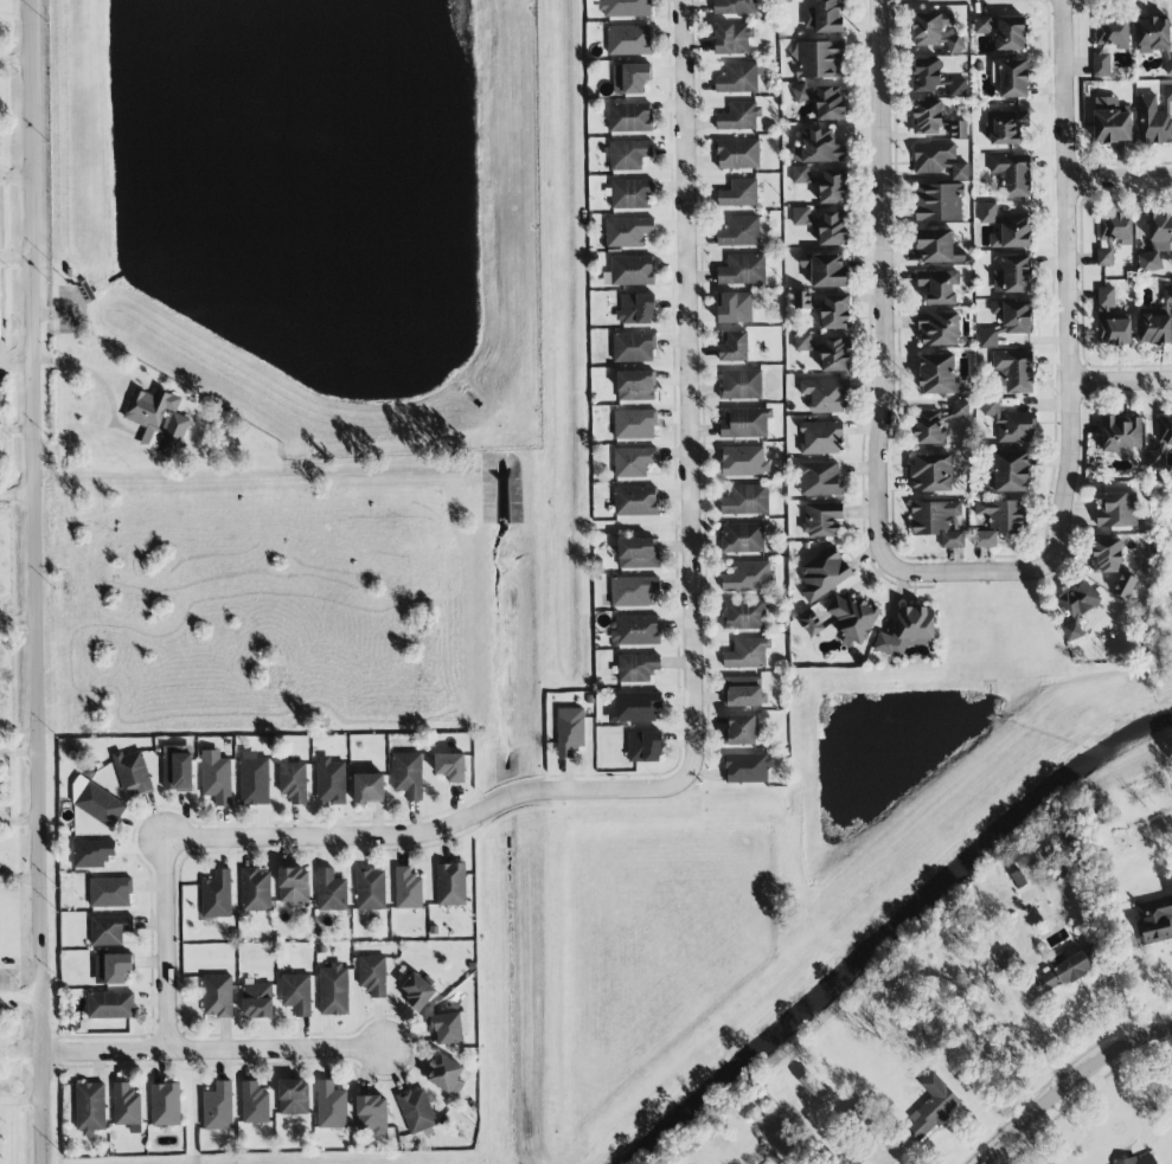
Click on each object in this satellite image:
building: (734, 7)
building: (625, 8)
building: (824, 17)
building: (929, 27)
building: (1003, 31)
building: (1153, 34)
building: (732, 39)
building: (628, 40)
building: (954, 43)
building: (1107, 43)
road: (14, 59)
building: (819, 59)
building: (1168, 66)
building: (927, 75)
building: (630, 78)
building: (737, 78)
building: (1011, 78)
building: (958, 88)
building: (799, 92)
building: (828, 103)
building: (738, 116)
building: (629, 117)
building: (1155, 117)
building: (935, 121)
building: (1110, 122)
building: (1005, 127)
building: (818, 148)
building: (628, 154)
building: (737, 154)
building: (934, 159)
building: (959, 171)
building: (800, 174)
building: (1012, 174)
road: (1119, 178)
building: (833, 186)
building: (630, 193)
building: (738, 194)
building: (939, 202)
building: (987, 212)
building: (822, 225)
building: (627, 232)
building: (739, 232)
building: (1012, 232)
building: (1113, 234)
building: (1157, 242)
building: (937, 247)
road: (15, 258)
building: (743, 270)
building: (827, 270)
building: (632, 271)
building: (1013, 275)
road: (882, 279)
road: (1068, 282)
building: (940, 287)
building: (1167, 295)
building: (735, 308)
building: (635, 309)
building: (827, 309)
building: (1007, 321)
building: (1110, 321)
building: (1155, 324)
building: (939, 329)
building: (633, 347)
building: (734, 347)
building: (826, 351)
road: (15, 358)
building: (1012, 372)
building: (936, 374)
road: (1121, 379)
road: (95, 381)
building: (741, 385)
building: (635, 386)
road: (677, 388)
building: (825, 394)
building: (0, 398)
building: (960, 410)
building: (158, 420)
building: (744, 423)
building: (1010, 423)
building: (634, 424)
building: (928, 427)
building: (1164, 430)
building: (1121, 432)
building: (820, 438)
building: (743, 461)
building: (1154, 461)
building: (634, 462)
building: (1008, 472)
building: (931, 474)
building: (819, 478)
road: (17, 495)
building: (635, 501)
building: (745, 501)
building: (1116, 509)
building: (821, 519)
building: (998, 521)
building: (937, 522)
building: (743, 538)
building: (638, 553)
building: (1107, 555)
road: (965, 572)
building: (822, 575)
building: (748, 578)
road: (36, 581)
building: (1125, 585)
building: (633, 591)
building: (1077, 606)
building: (743, 615)
building: (852, 617)
building: (811, 623)
building: (635, 630)
building: (908, 631)
building: (747, 654)
building: (636, 668)
building: (743, 692)
building: (634, 707)
building: (569, 731)
building: (739, 731)
building: (643, 747)
building: (450, 766)
building: (178, 767)
building: (747, 767)
building: (133, 772)
building: (408, 774)
building: (216, 777)
building: (254, 779)
building: (331, 780)
building: (293, 783)
building: (369, 787)
road: (607, 787)
building: (97, 803)
road: (19, 822)
road: (358, 836)
building: (92, 853)
building: (294, 885)
building: (450, 885)
building: (371, 888)
building: (255, 889)
building: (408, 889)
building: (331, 890)
building: (110, 892)
building: (217, 895)
building: (1154, 920)
building: (110, 930)
road: (167, 946)
building: (113, 969)
building: (1064, 971)
building: (372, 975)
building: (333, 989)
building: (417, 991)
building: (296, 992)
building: (217, 996)
road: (20, 997)
building: (257, 999)
building: (110, 1005)
building: (447, 1028)
road: (213, 1049)
building: (444, 1074)
road: (1067, 1081)
building: (293, 1097)
road: (20, 1099)
building: (165, 1104)
building: (255, 1104)
building: (126, 1105)
building: (331, 1106)
building: (90, 1107)
building: (218, 1107)
building: (931, 1107)
building: (416, 1110)
building: (372, 1114)
building: (1141, 1159)

